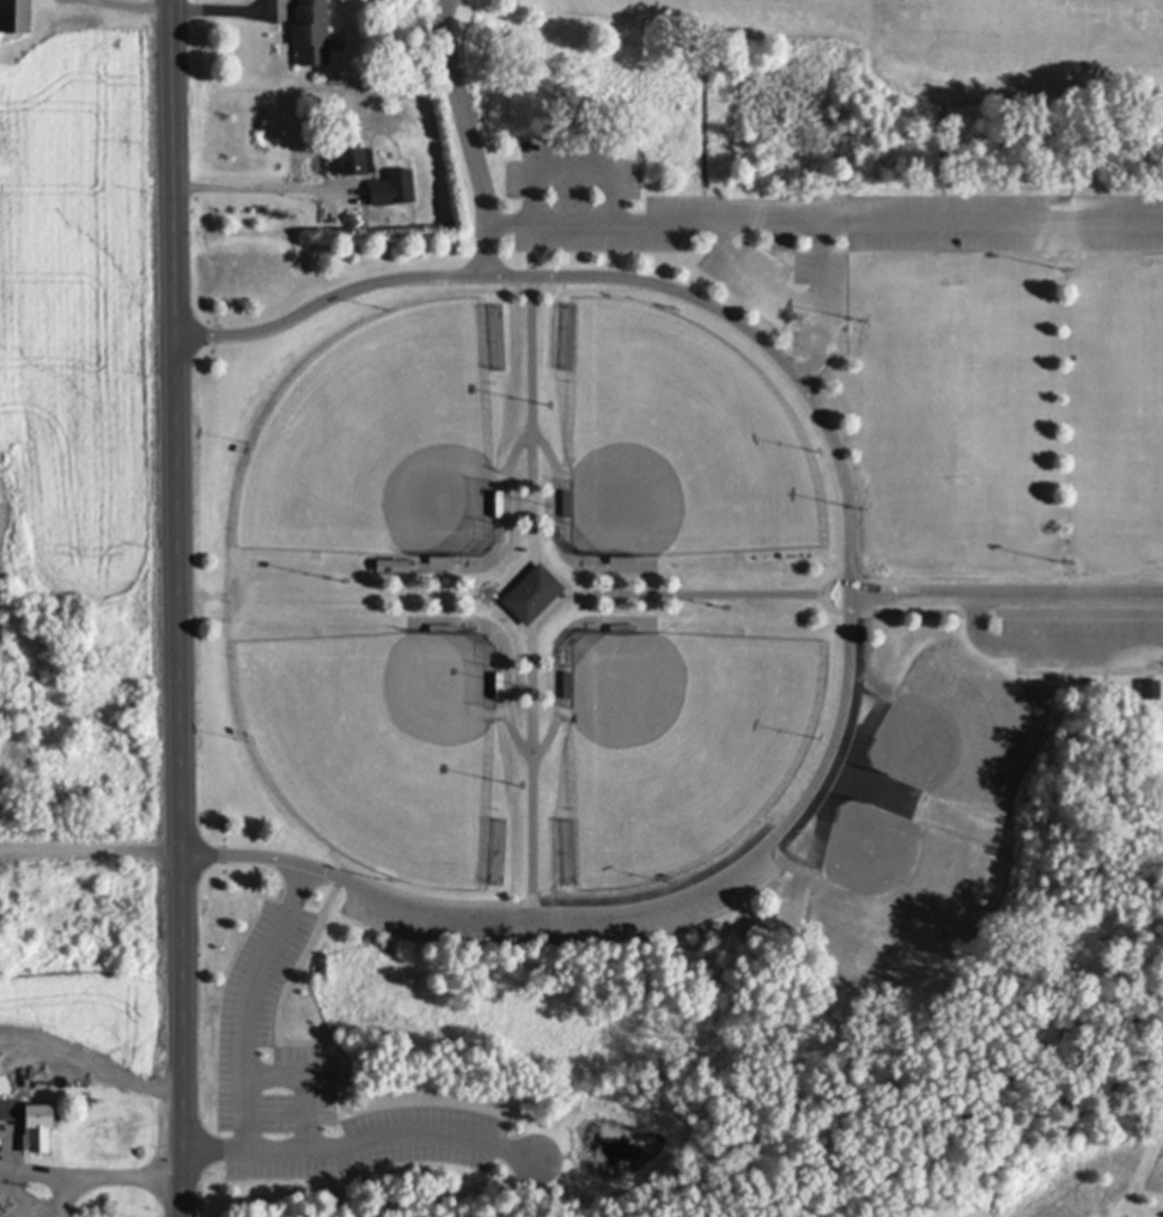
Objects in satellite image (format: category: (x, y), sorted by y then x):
building: (16, 17)
building: (312, 34)
road: (705, 109)
road: (468, 136)
building: (358, 163)
road: (574, 168)
road: (250, 184)
building: (394, 190)
road: (824, 223)
parking lot: (798, 230)
road: (822, 263)
road: (608, 276)
road: (791, 302)
road: (540, 439)
park: (385, 443)
park: (687, 445)
road: (532, 460)
building: (499, 505)
building: (567, 505)
building: (623, 561)
building: (443, 562)
building: (421, 568)
road: (830, 580)
flagpole: (488, 592)
building: (531, 594)
road: (666, 594)
road: (830, 607)
road: (173, 608)
road: (1006, 611)
building: (623, 629)
building: (443, 631)
park: (692, 633)
road: (1048, 645)
parking lot: (1083, 645)
building: (499, 687)
building: (567, 687)
building: (1151, 692)
park: (687, 747)
park: (389, 748)
road: (531, 756)
road: (532, 766)
road: (89, 850)
road: (754, 857)
parking lot: (717, 899)
road: (249, 1002)
building: (4, 1082)
parking lot: (312, 1084)
building: (8, 1112)
building: (39, 1127)
road: (358, 1142)
building: (0, 1144)
road: (87, 1180)
road: (61, 1197)
road: (334, 1207)

